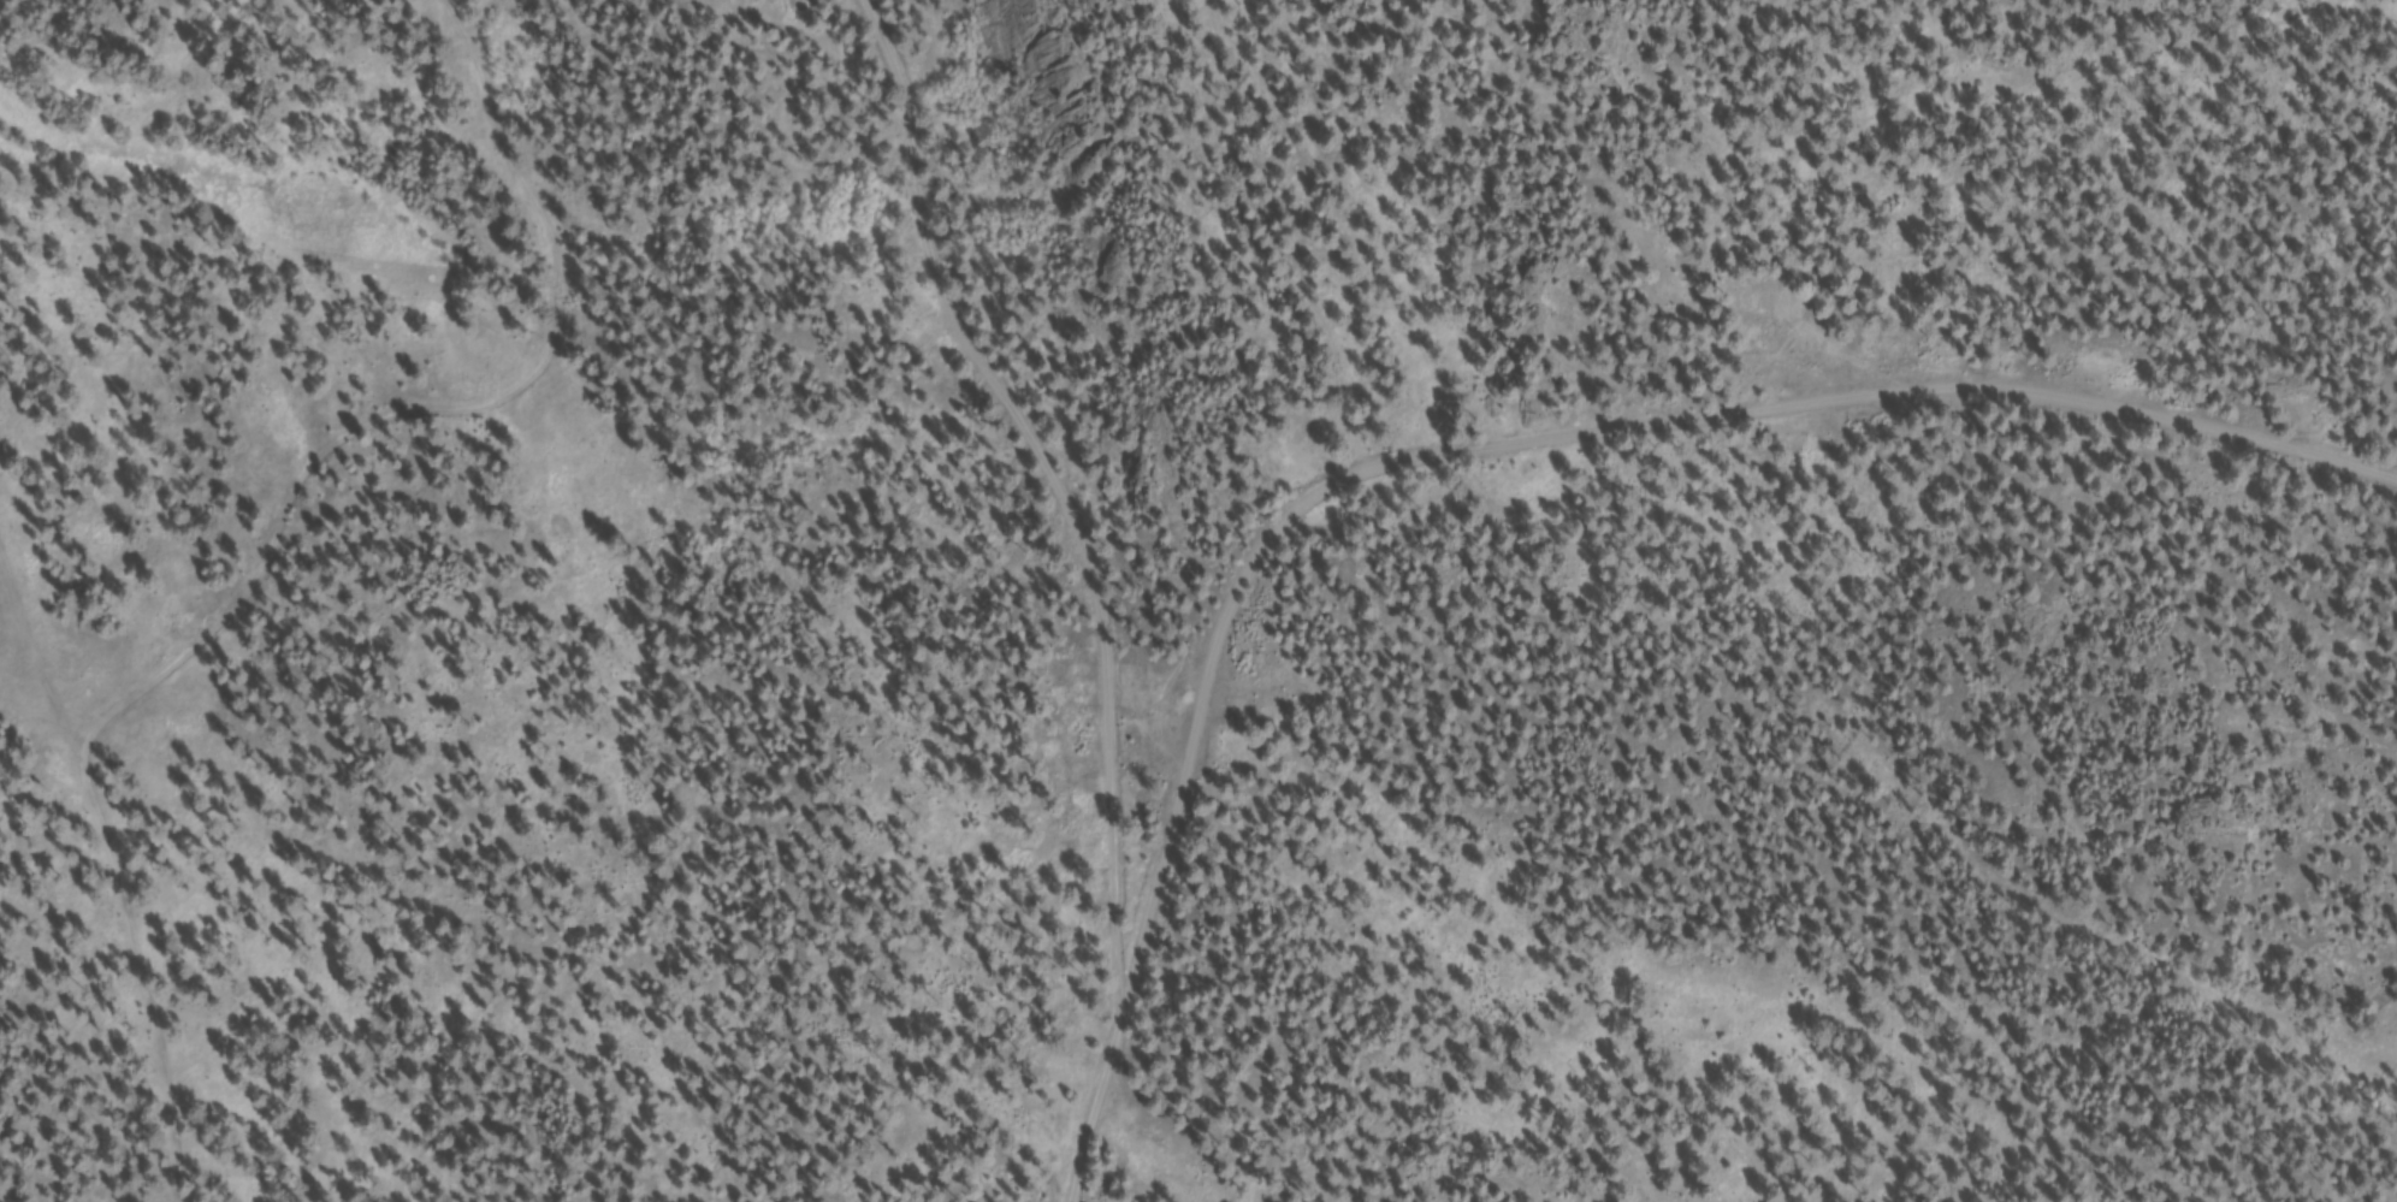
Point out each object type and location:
road: (1492, 456)

